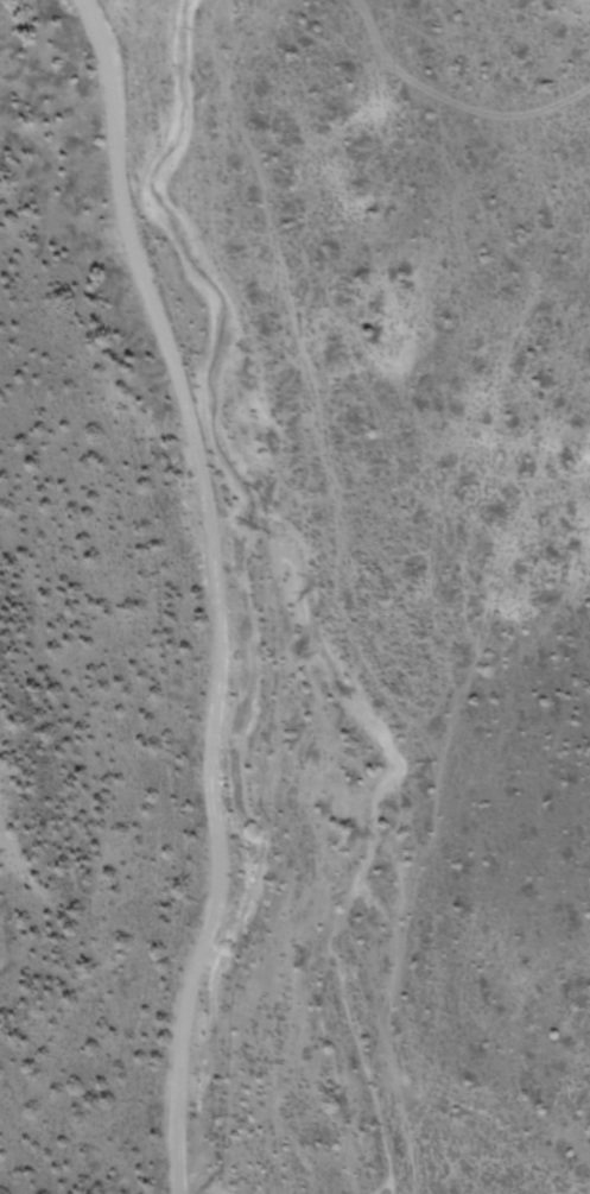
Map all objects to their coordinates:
road: (224, 585)

